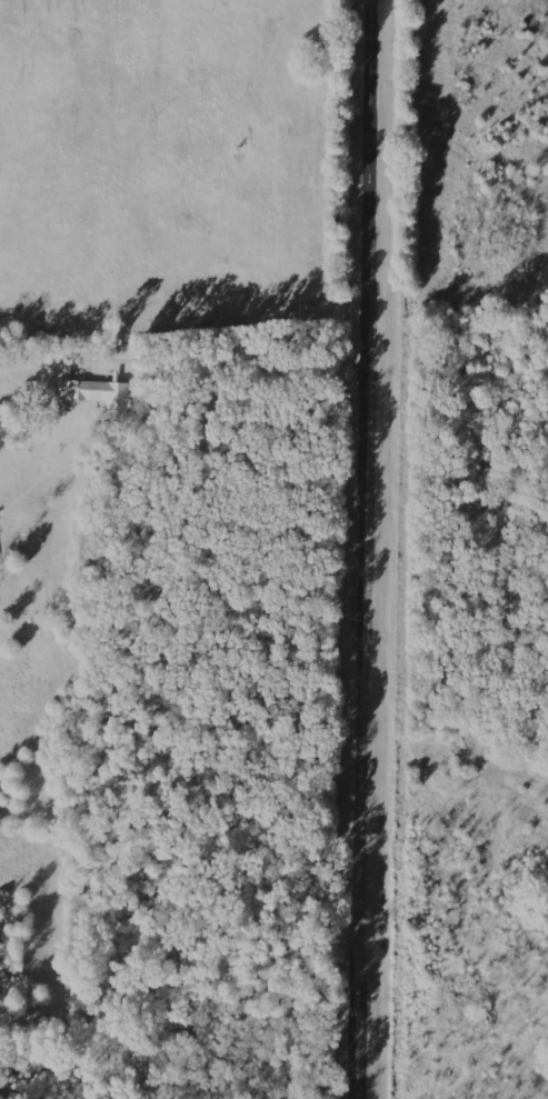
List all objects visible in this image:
road: (222, 368)
road: (370, 549)

